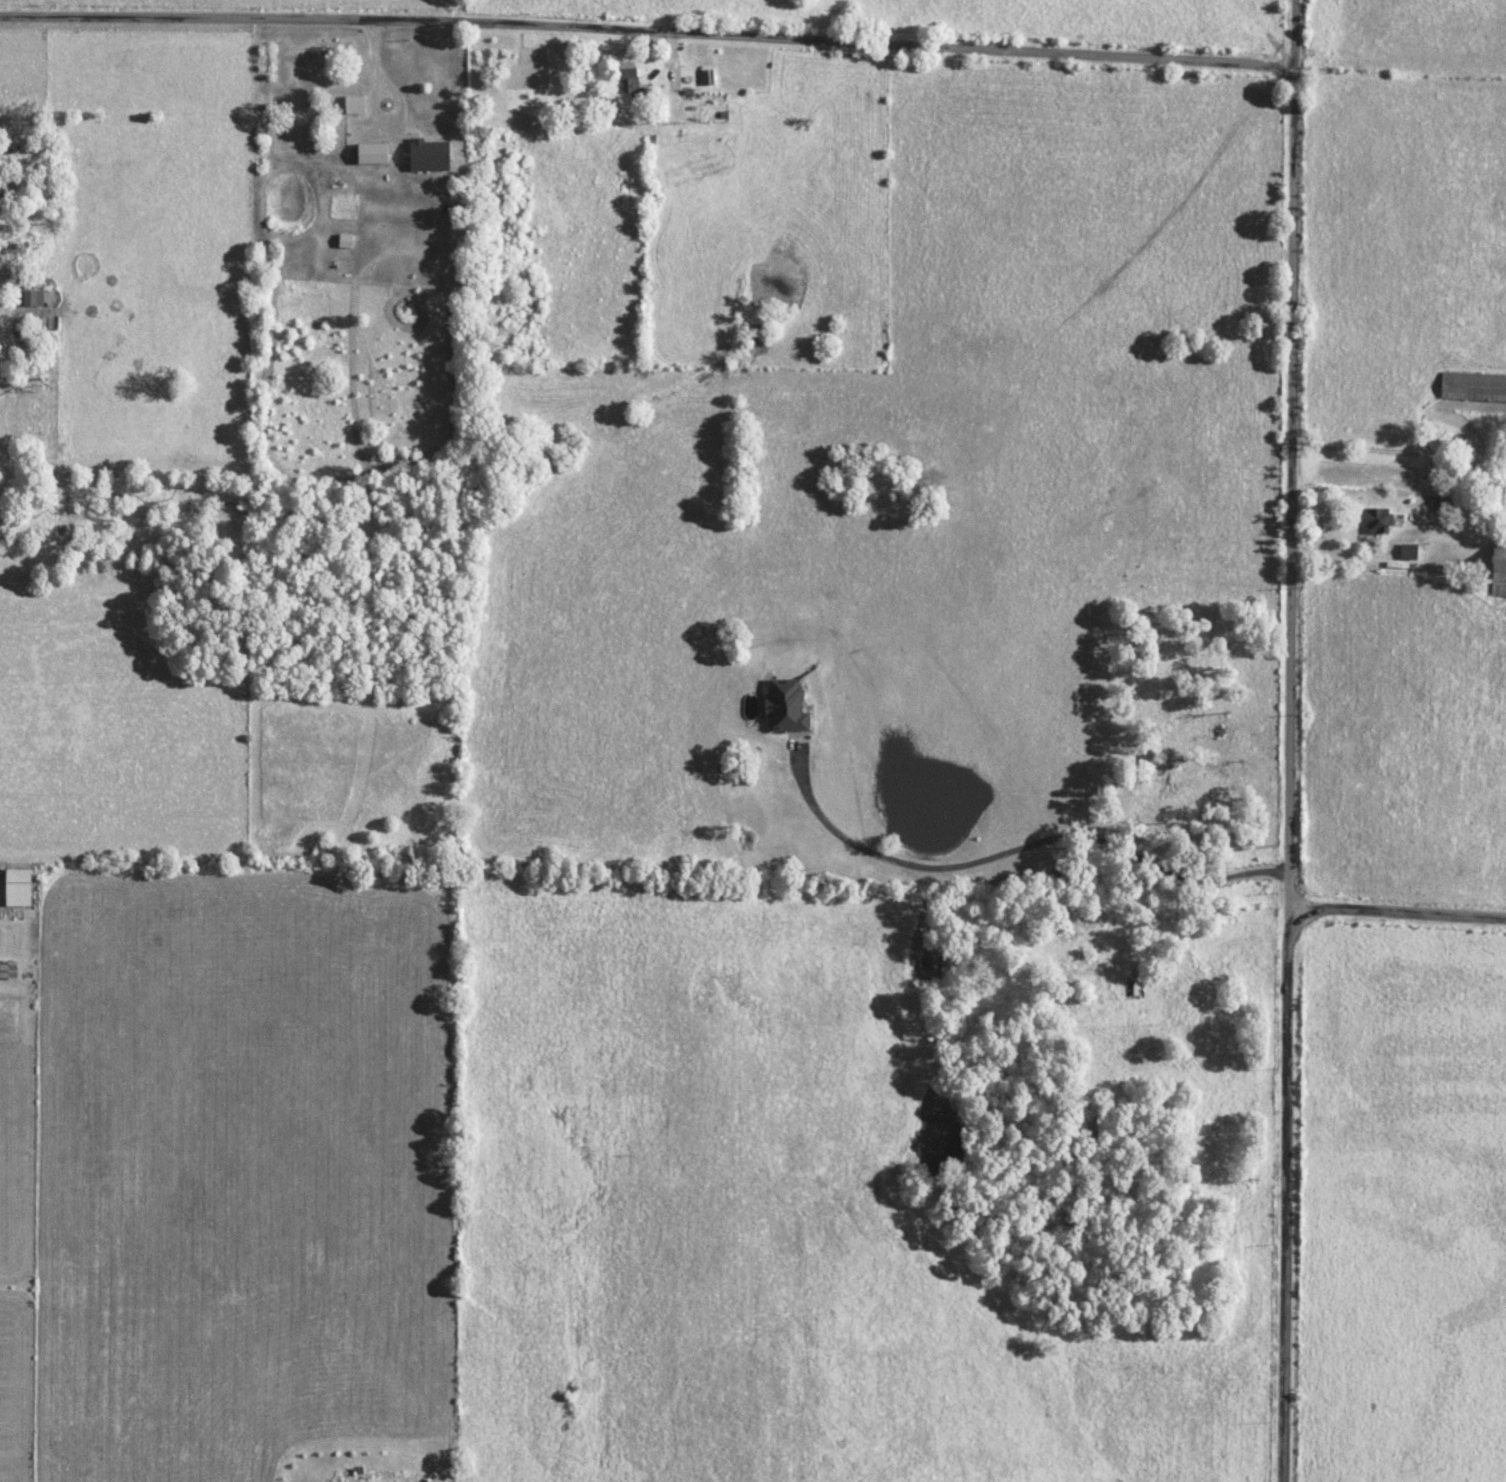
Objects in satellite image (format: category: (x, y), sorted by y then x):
road: (647, 33)
building: (627, 77)
building: (333, 91)
building: (354, 104)
building: (32, 298)
building: (1473, 387)
building: (1441, 505)
building: (1376, 521)
building: (1407, 552)
building: (1498, 567)
building: (784, 706)
road: (1293, 741)
road: (1022, 847)
building: (17, 887)
road: (1399, 913)
building: (8, 970)

